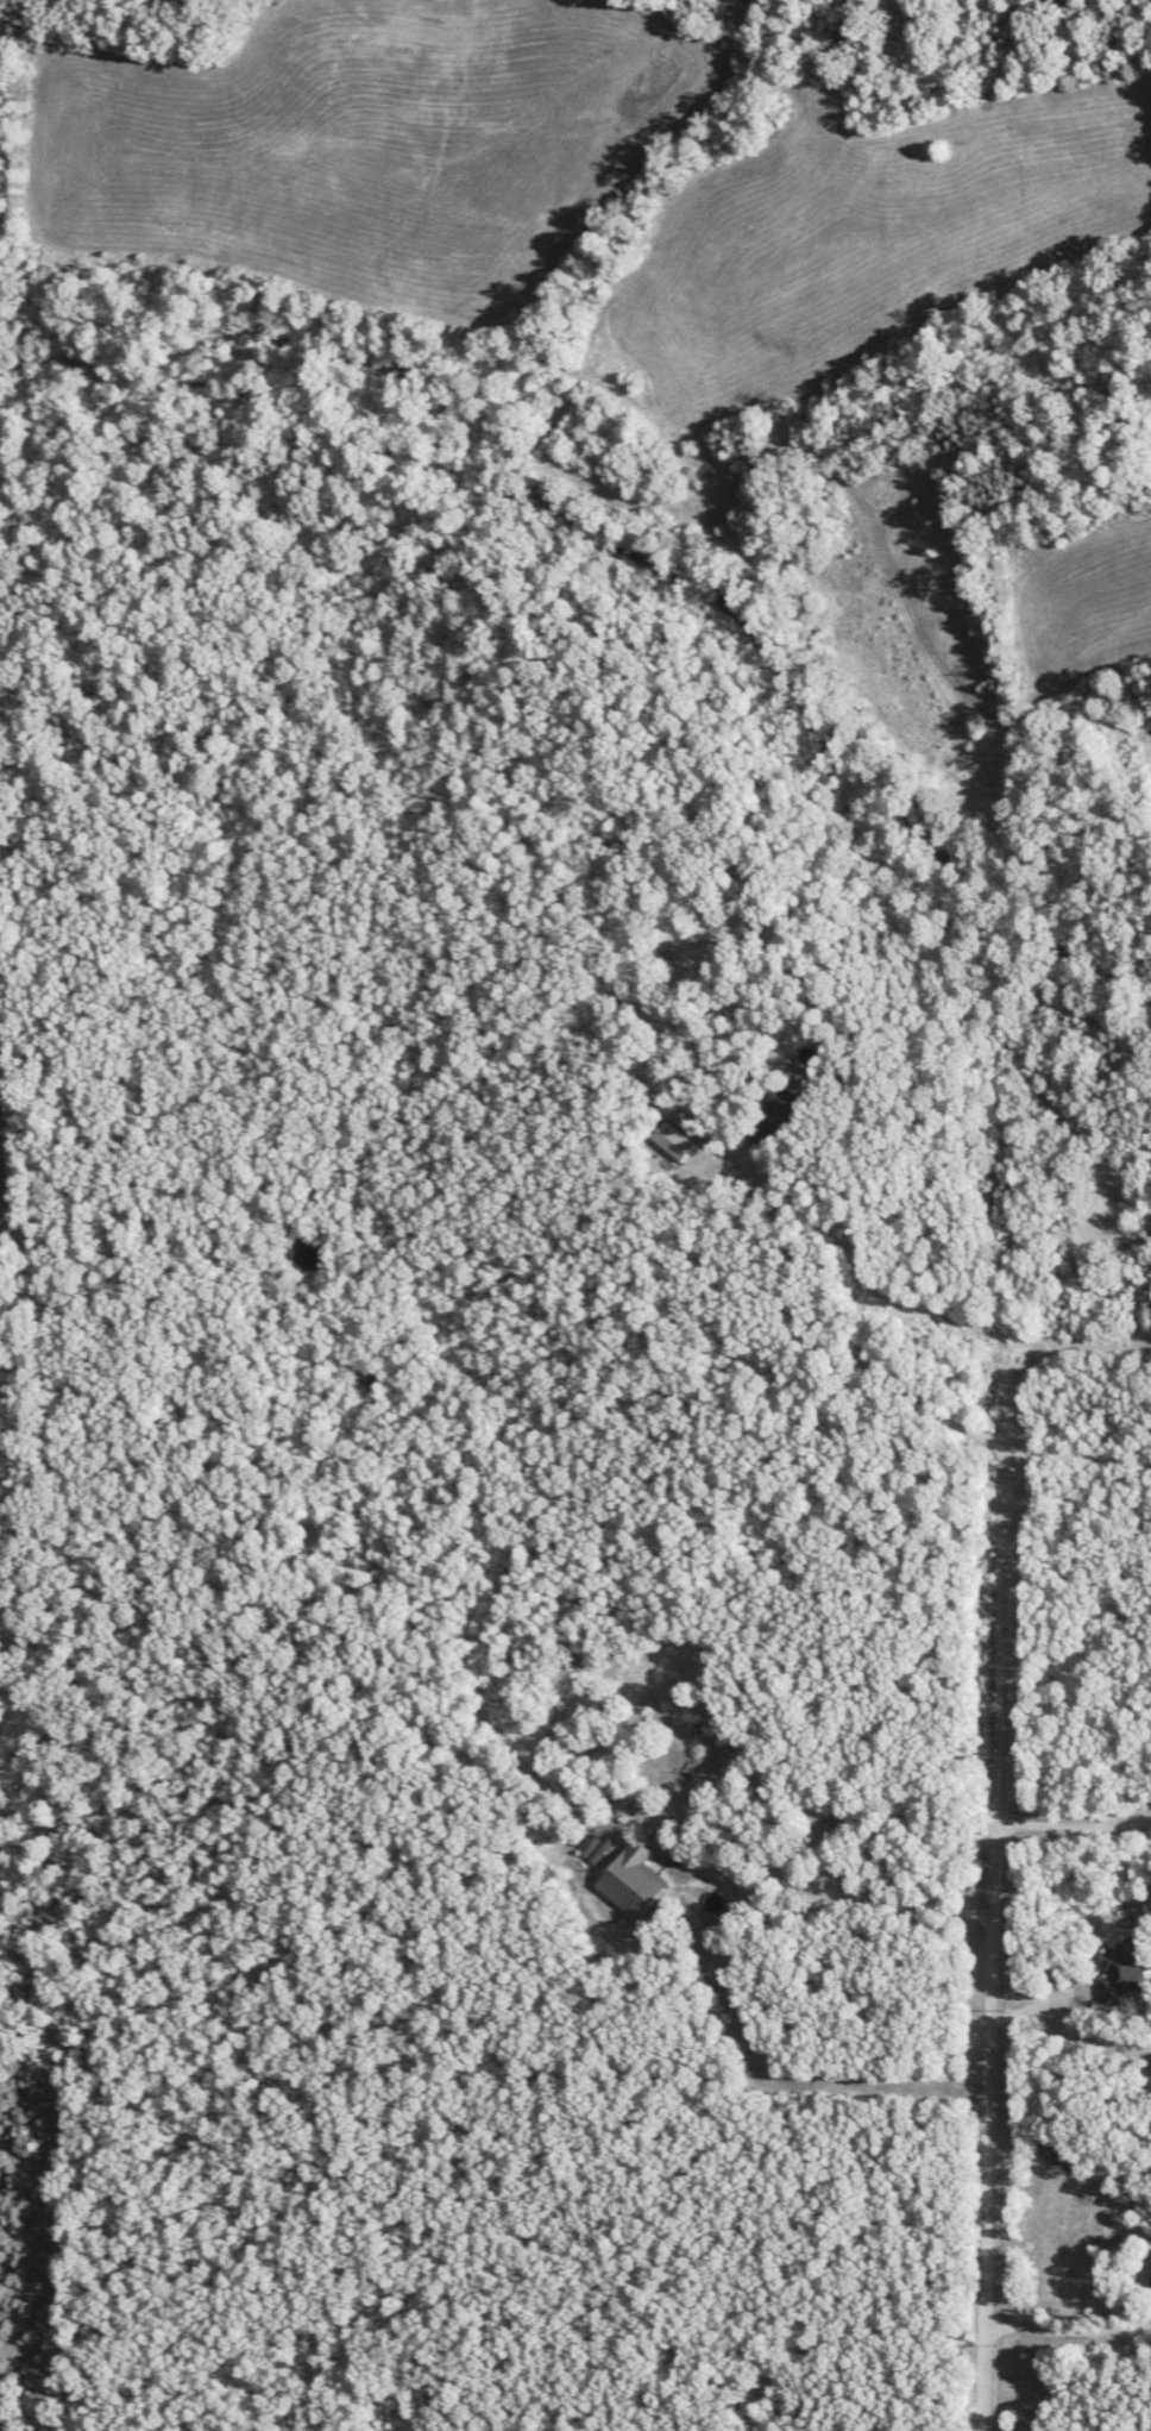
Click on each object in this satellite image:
building: (771, 1114)
road: (835, 1330)
road: (1080, 1455)
road: (1074, 1823)
building: (595, 1848)
road: (728, 1868)
building: (631, 1880)
road: (993, 1940)
building: (1122, 1969)
road: (1065, 2326)

